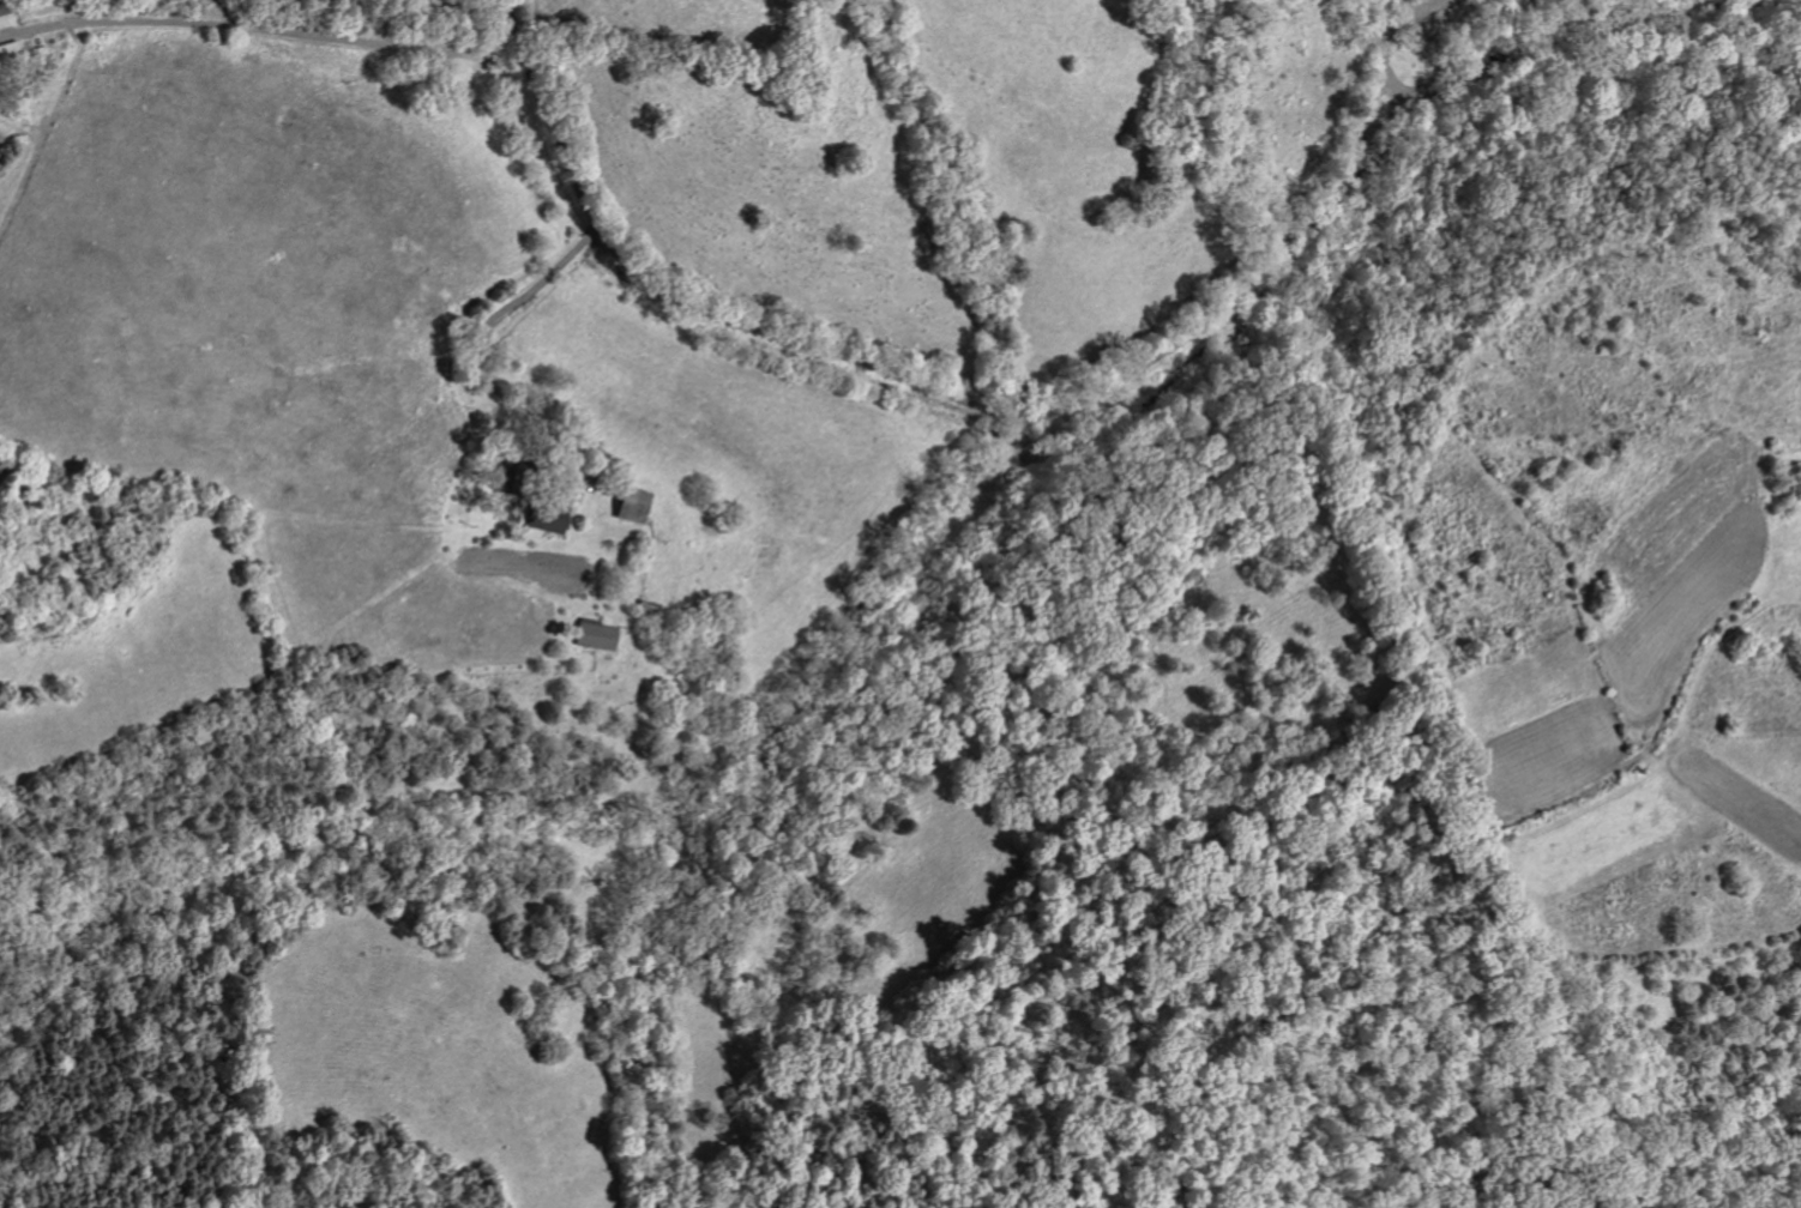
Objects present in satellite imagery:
building: (4, 16)
road: (260, 28)
road: (1384, 53)
road: (1572, 62)
road: (487, 327)
road: (895, 375)
building: (630, 505)
building: (547, 520)
building: (595, 635)

